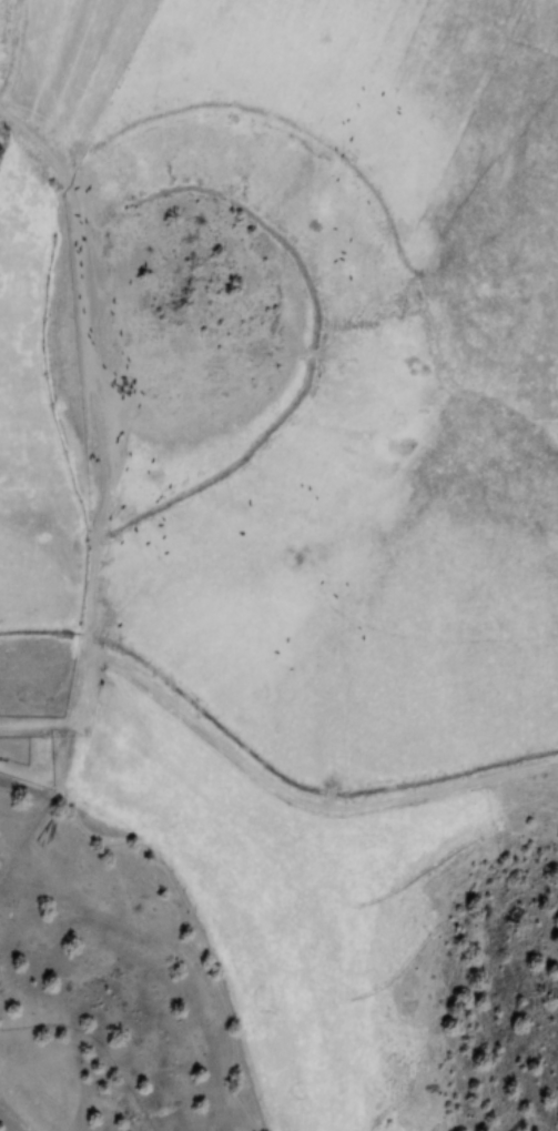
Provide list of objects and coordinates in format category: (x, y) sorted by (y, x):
road: (100, 695)

